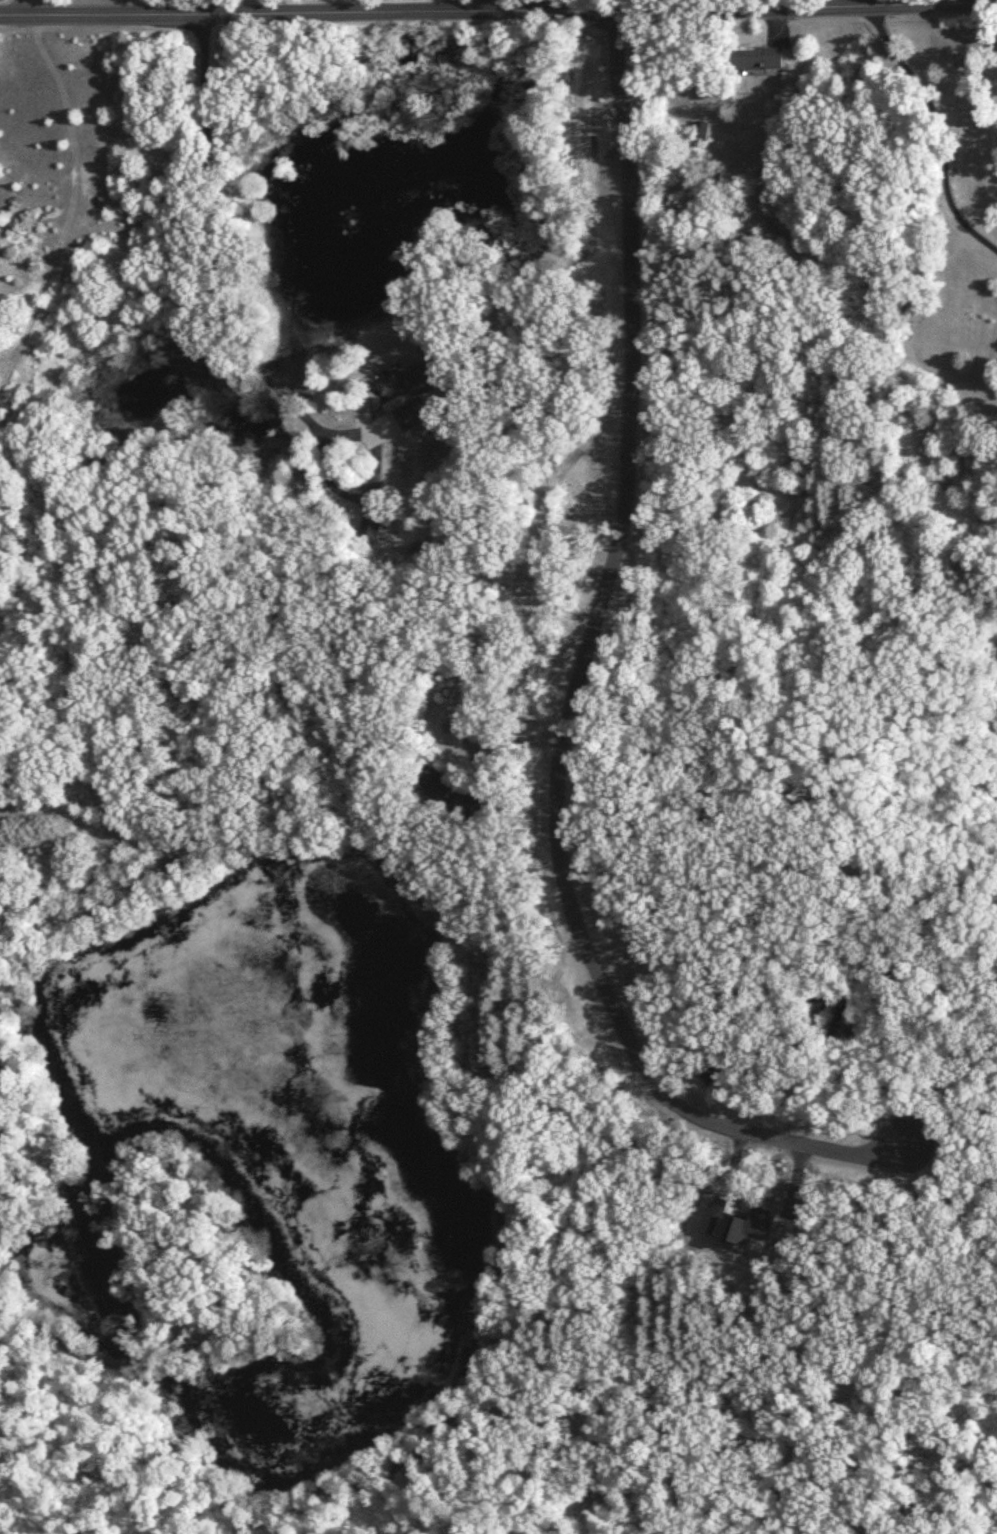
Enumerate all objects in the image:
road: (857, 3)
road: (492, 5)
road: (605, 5)
road: (21, 7)
road: (498, 10)
building: (755, 59)
road: (938, 129)
building: (699, 135)
road: (218, 278)
road: (629, 333)
building: (405, 394)
building: (370, 527)
road: (407, 634)
building: (449, 795)
road: (558, 834)

